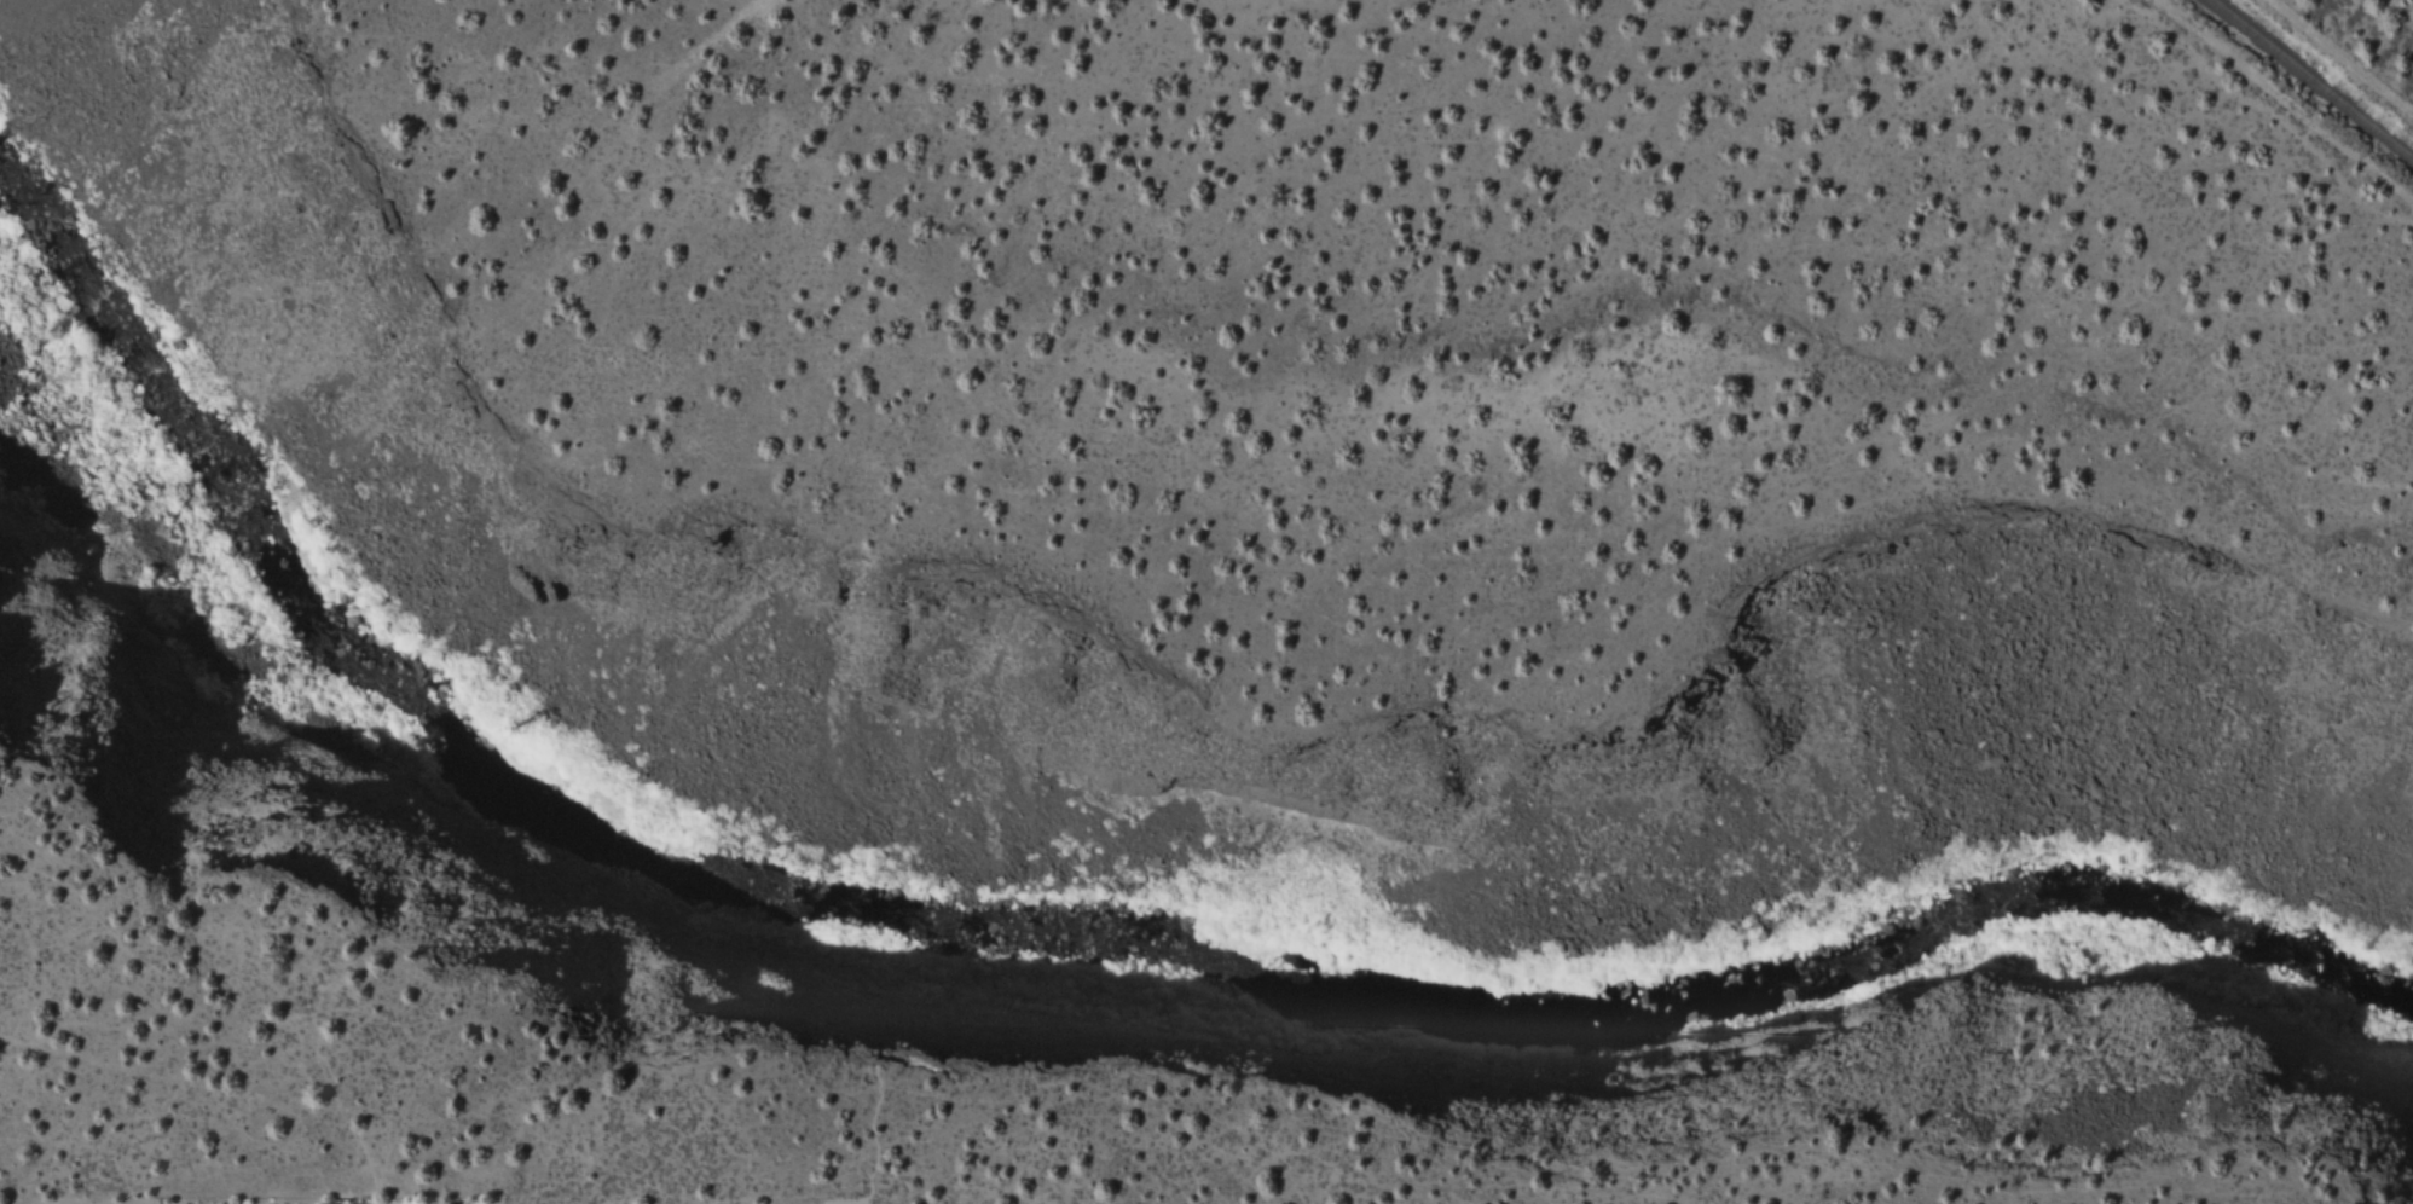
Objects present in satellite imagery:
road: (2400, 11)
railway: (2309, 86)
river: (1084, 938)

